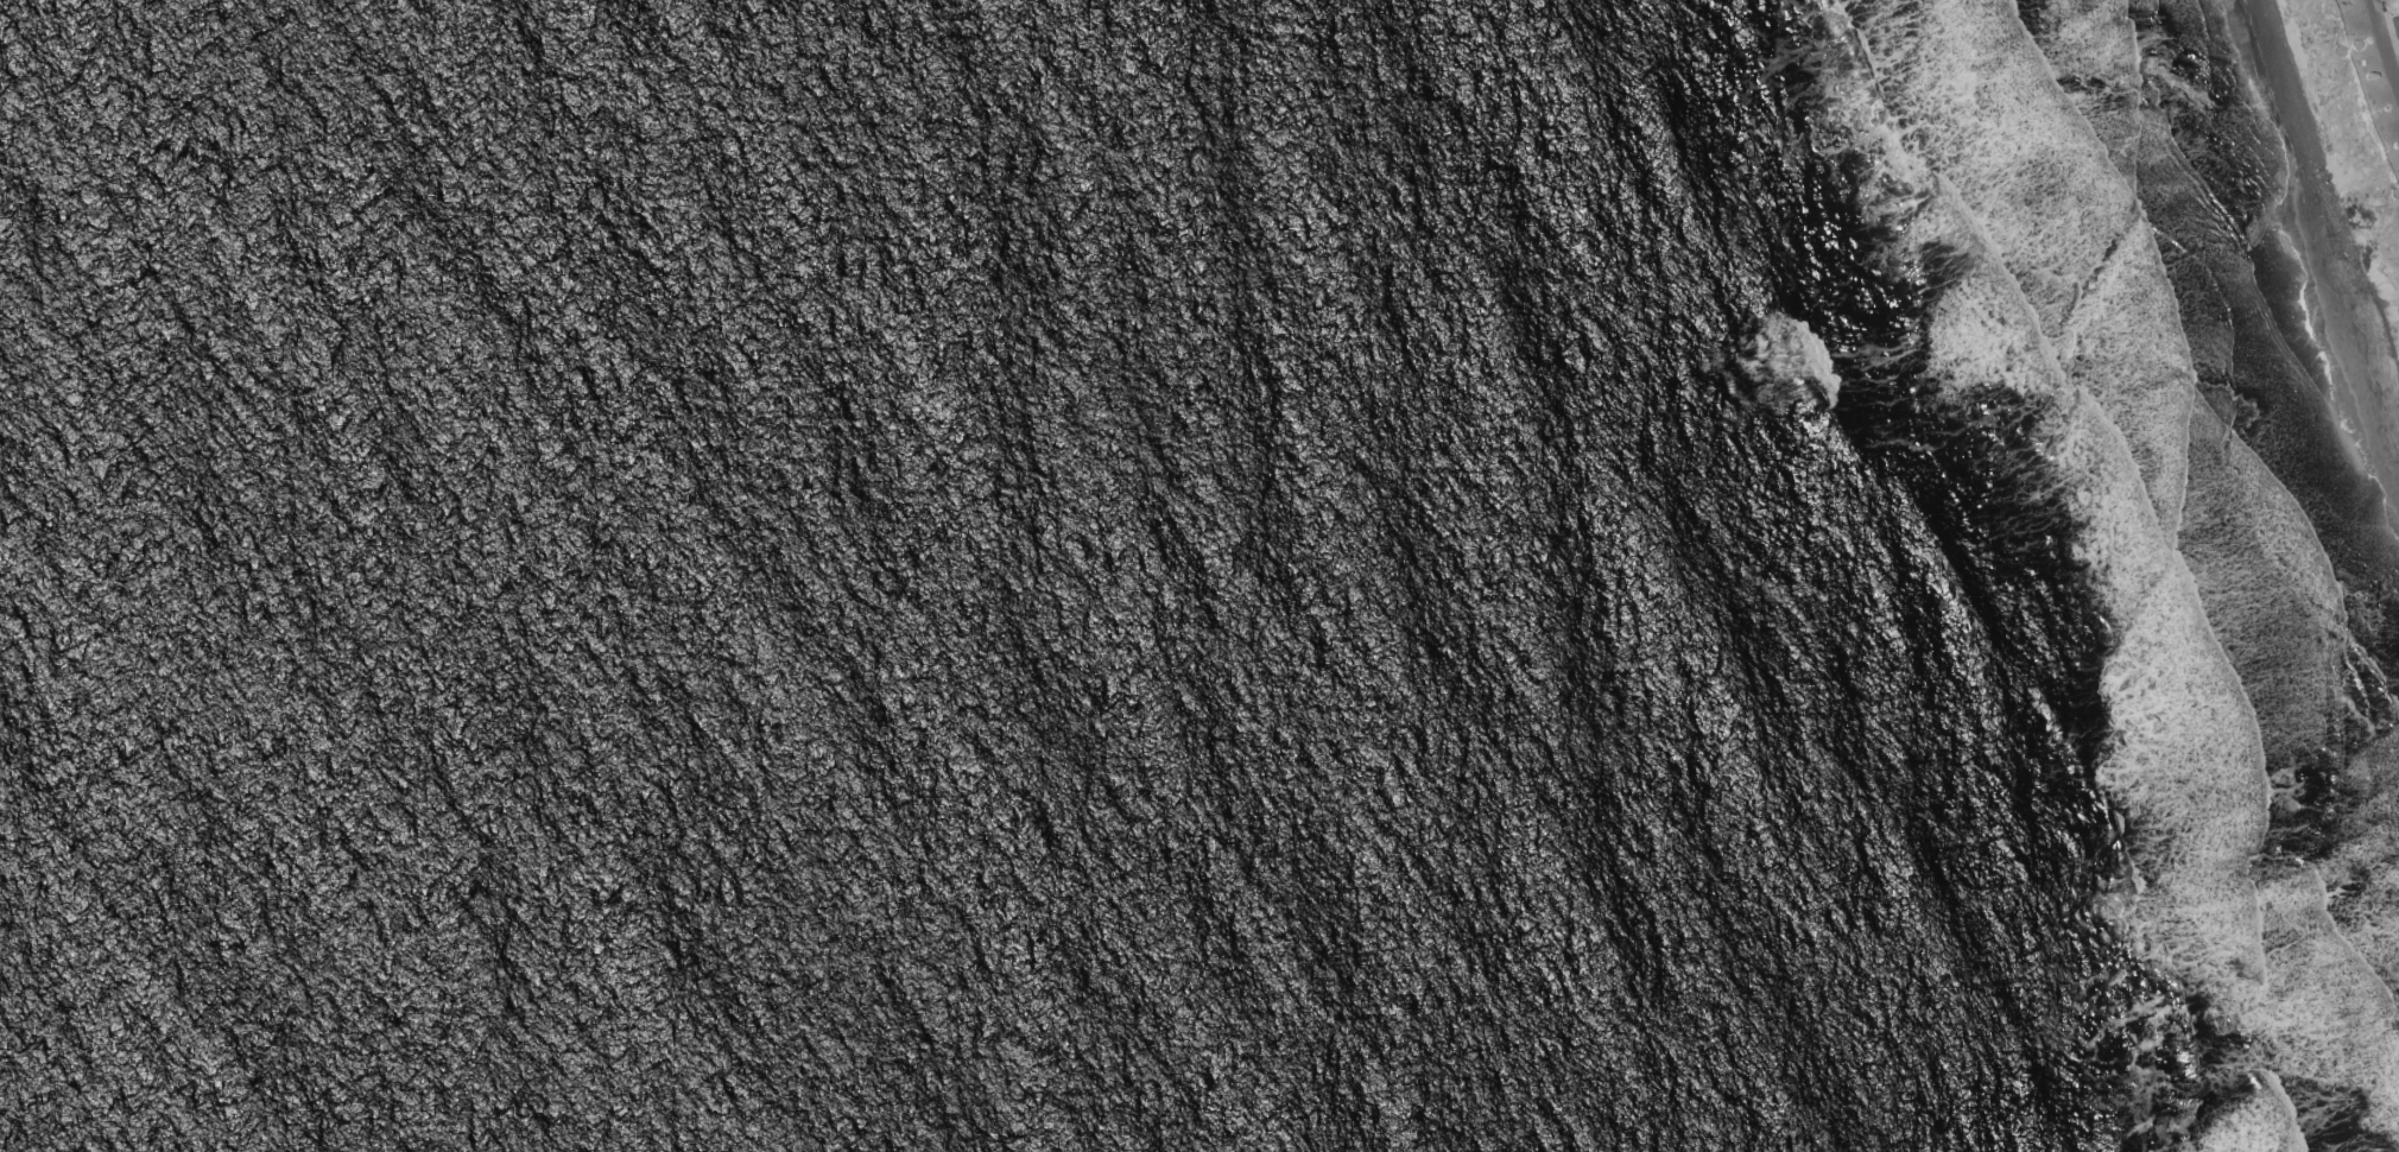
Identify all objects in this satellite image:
building: (2394, 26)
road: (2382, 46)

